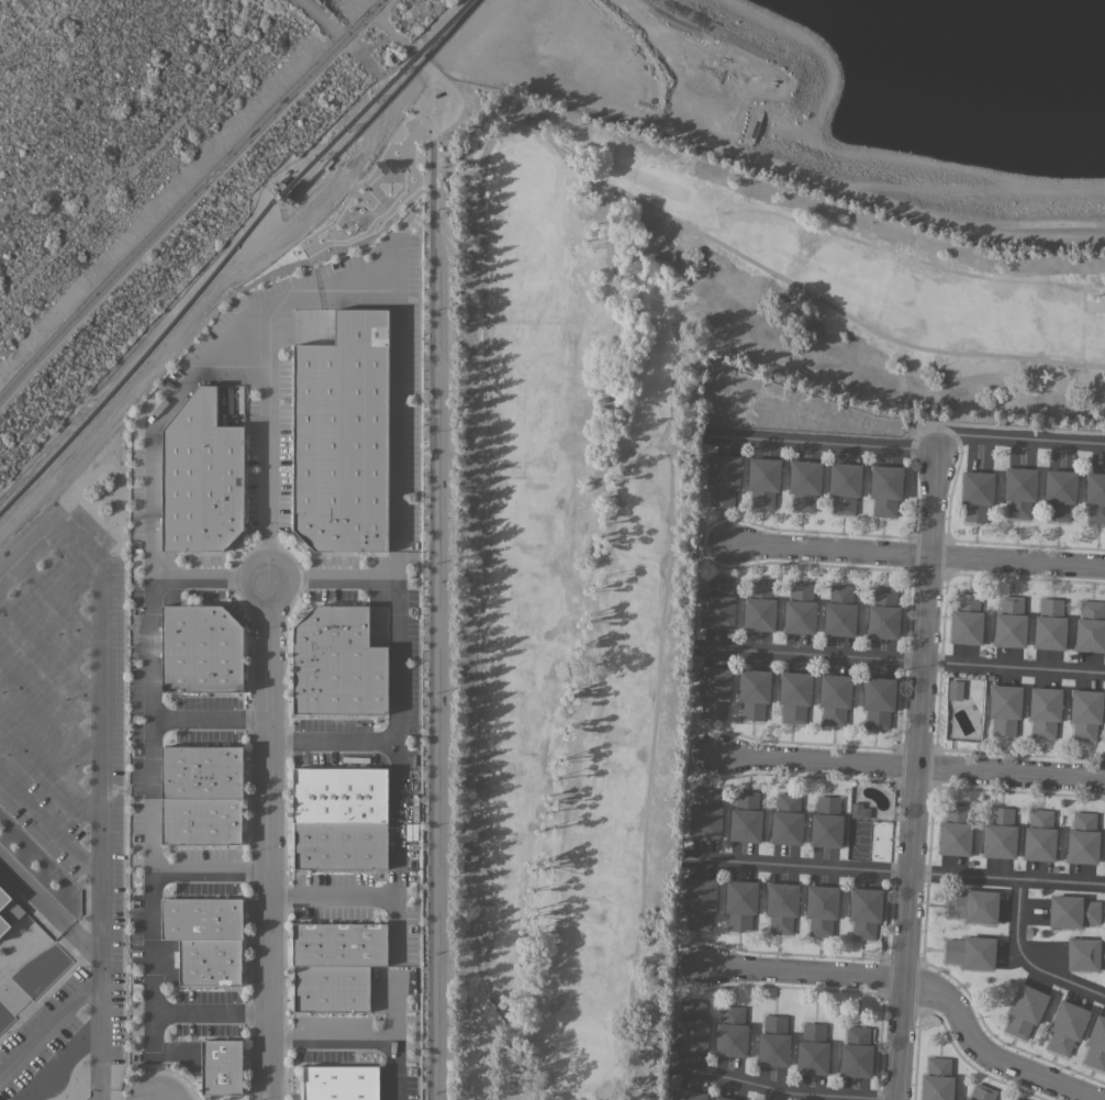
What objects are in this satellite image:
road: (375, 5)
road: (434, 115)
road: (768, 158)
road: (182, 201)
road: (483, 280)
road: (160, 411)
building: (343, 435)
road: (1017, 438)
road: (817, 443)
road: (267, 444)
road: (670, 476)
building: (201, 477)
building: (723, 478)
building: (763, 481)
building: (804, 484)
building: (844, 486)
building: (885, 489)
building: (1019, 491)
building: (1059, 493)
building: (976, 495)
building: (1095, 496)
park: (651, 519)
road: (917, 555)
road: (210, 578)
road: (58, 602)
building: (718, 603)
building: (759, 605)
building: (800, 609)
building: (839, 611)
building: (883, 613)
building: (966, 620)
building: (1009, 622)
building: (1049, 624)
building: (1091, 626)
building: (200, 648)
road: (51, 649)
road: (100, 651)
road: (897, 659)
building: (337, 663)
road: (437, 674)
building: (955, 689)
building: (713, 690)
building: (754, 692)
building: (794, 696)
building: (834, 698)
building: (878, 701)
road: (51, 707)
building: (1004, 708)
building: (1045, 711)
building: (1085, 713)
road: (210, 718)
road: (332, 738)
parking lot: (66, 755)
road: (913, 768)
road: (51, 770)
building: (202, 771)
road: (914, 775)
building: (338, 795)
building: (859, 811)
building: (705, 815)
building: (745, 816)
building: (786, 820)
building: (201, 821)
building: (826, 822)
road: (51, 824)
building: (953, 831)
building: (1000, 834)
building: (1039, 836)
building: (1082, 838)
road: (269, 840)
building: (339, 845)
road: (211, 870)
road: (902, 871)
road: (397, 874)
road: (333, 895)
building: (700, 901)
building: (740, 903)
building: (973, 905)
building: (781, 907)
building: (821, 909)
building: (8, 911)
building: (1072, 911)
building: (864, 912)
building: (201, 918)
road: (101, 920)
building: (338, 944)
building: (970, 952)
building: (1085, 954)
road: (98, 958)
building: (209, 962)
road: (1026, 962)
road: (917, 982)
building: (331, 988)
building: (1025, 1010)
road: (51, 1015)
building: (3, 1018)
building: (692, 1026)
building: (1065, 1026)
building: (732, 1032)
building: (773, 1042)
road: (159, 1043)
building: (1096, 1043)
building: (812, 1049)
building: (856, 1053)
building: (221, 1067)
building: (937, 1079)
building: (339, 1082)
building: (982, 1092)
road: (789, 1093)
building: (689, 1095)
road: (520, 1097)
road: (507, 1098)
building: (723, 1098)
building: (1013, 1099)
building: (1015, 1099)

